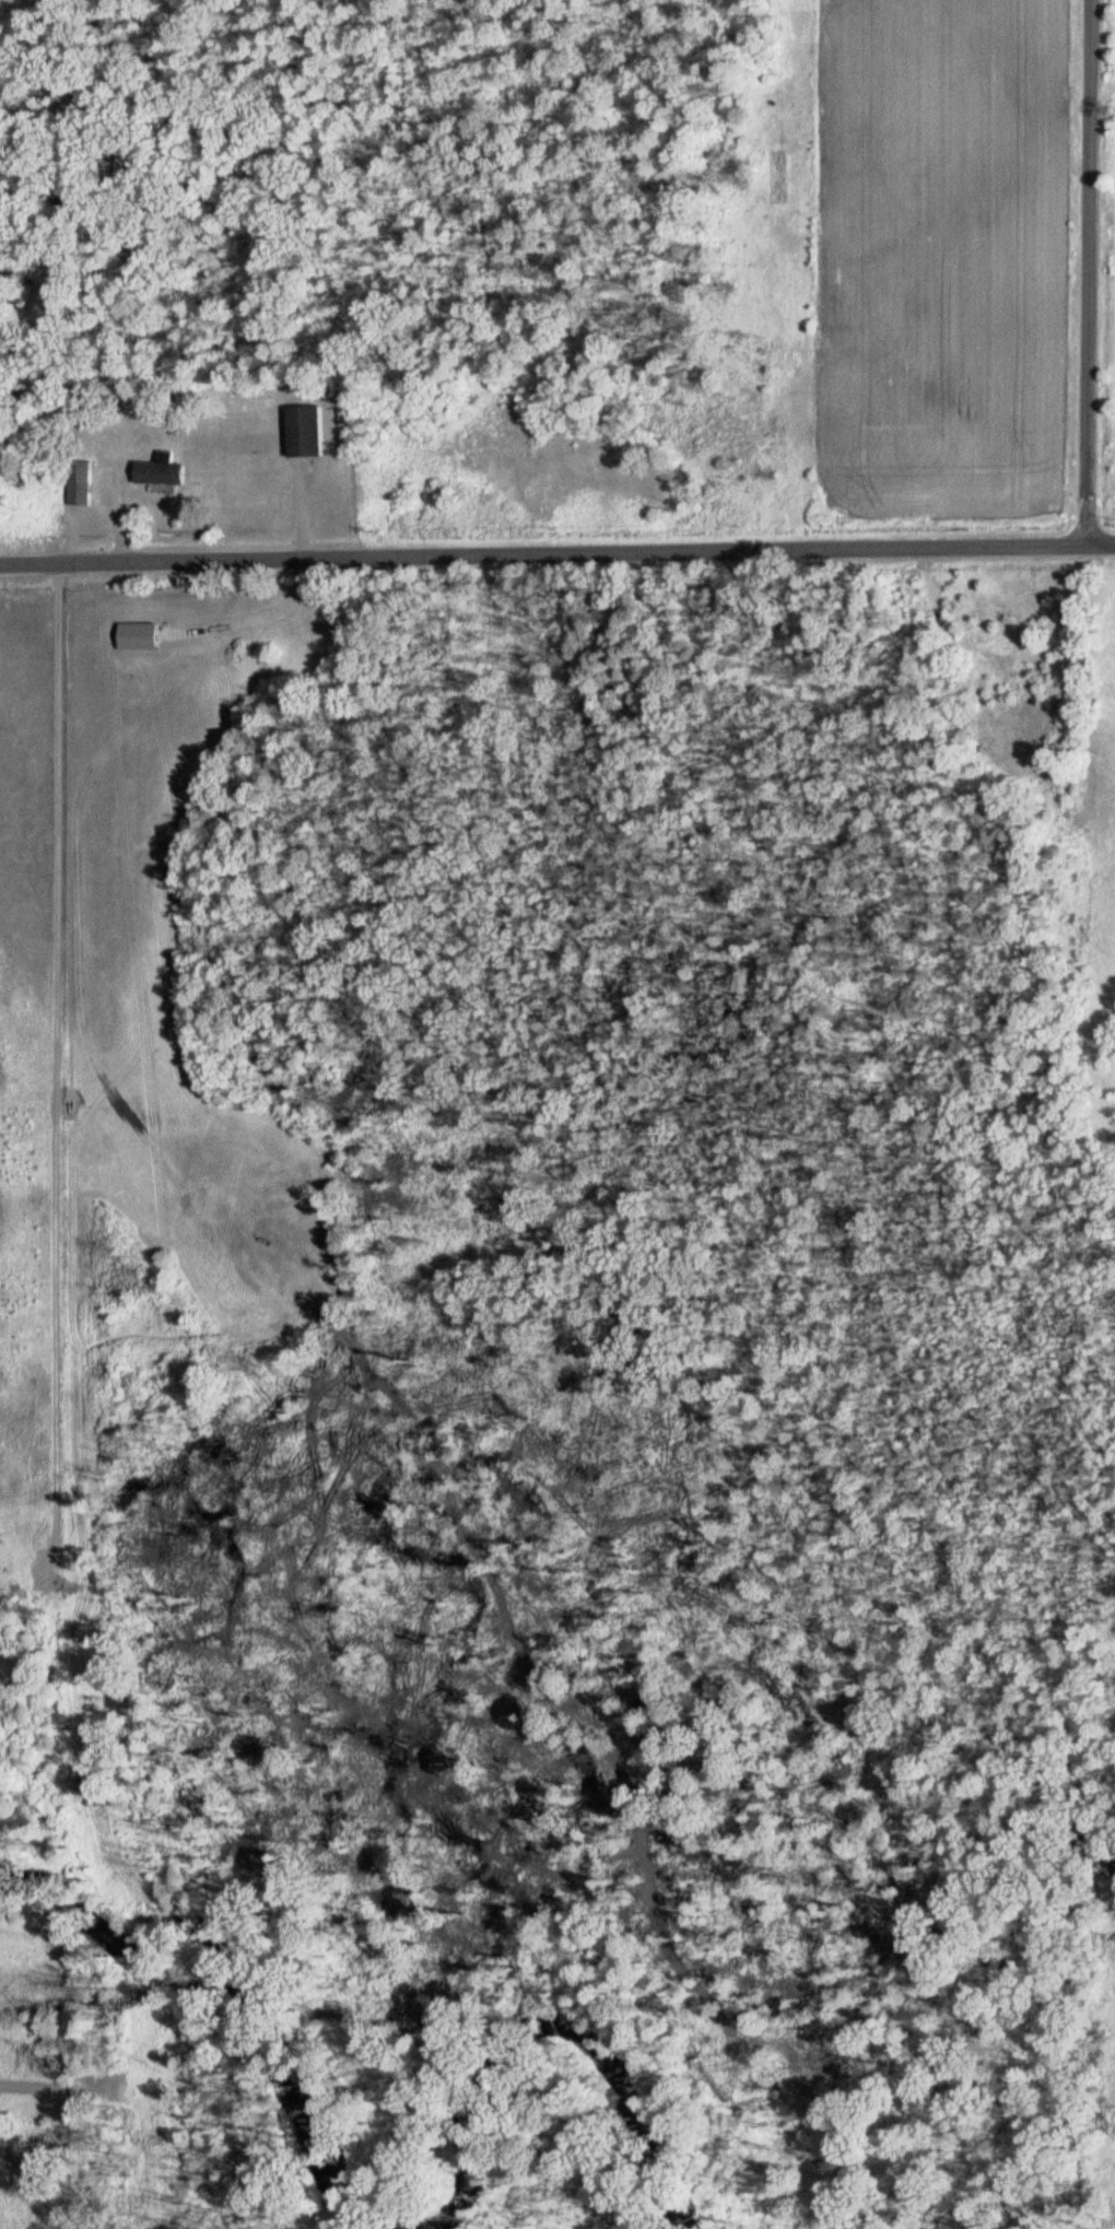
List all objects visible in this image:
road: (1089, 275)
building: (308, 431)
building: (164, 470)
building: (81, 482)
road: (556, 561)
road: (55, 1107)
river: (216, 1979)
river: (524, 2018)

